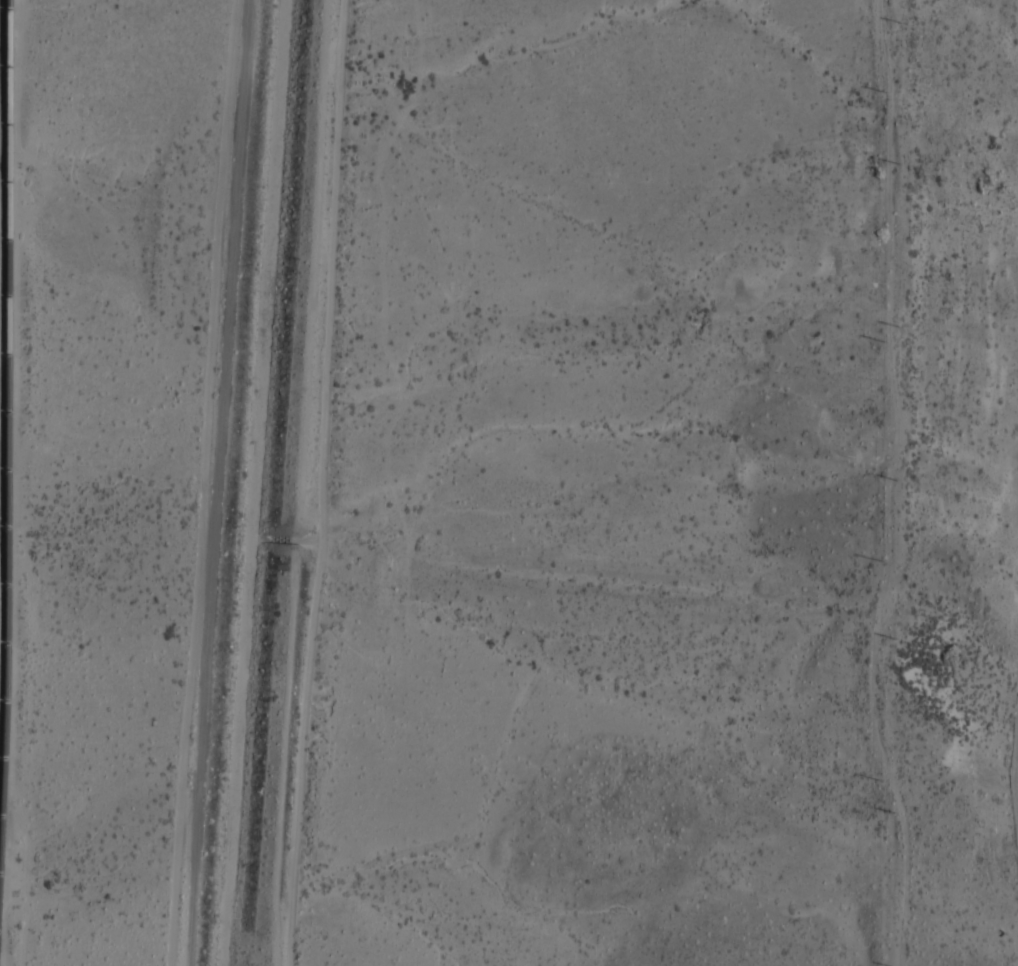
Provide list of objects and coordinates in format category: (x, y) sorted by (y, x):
railway: (9, 441)

